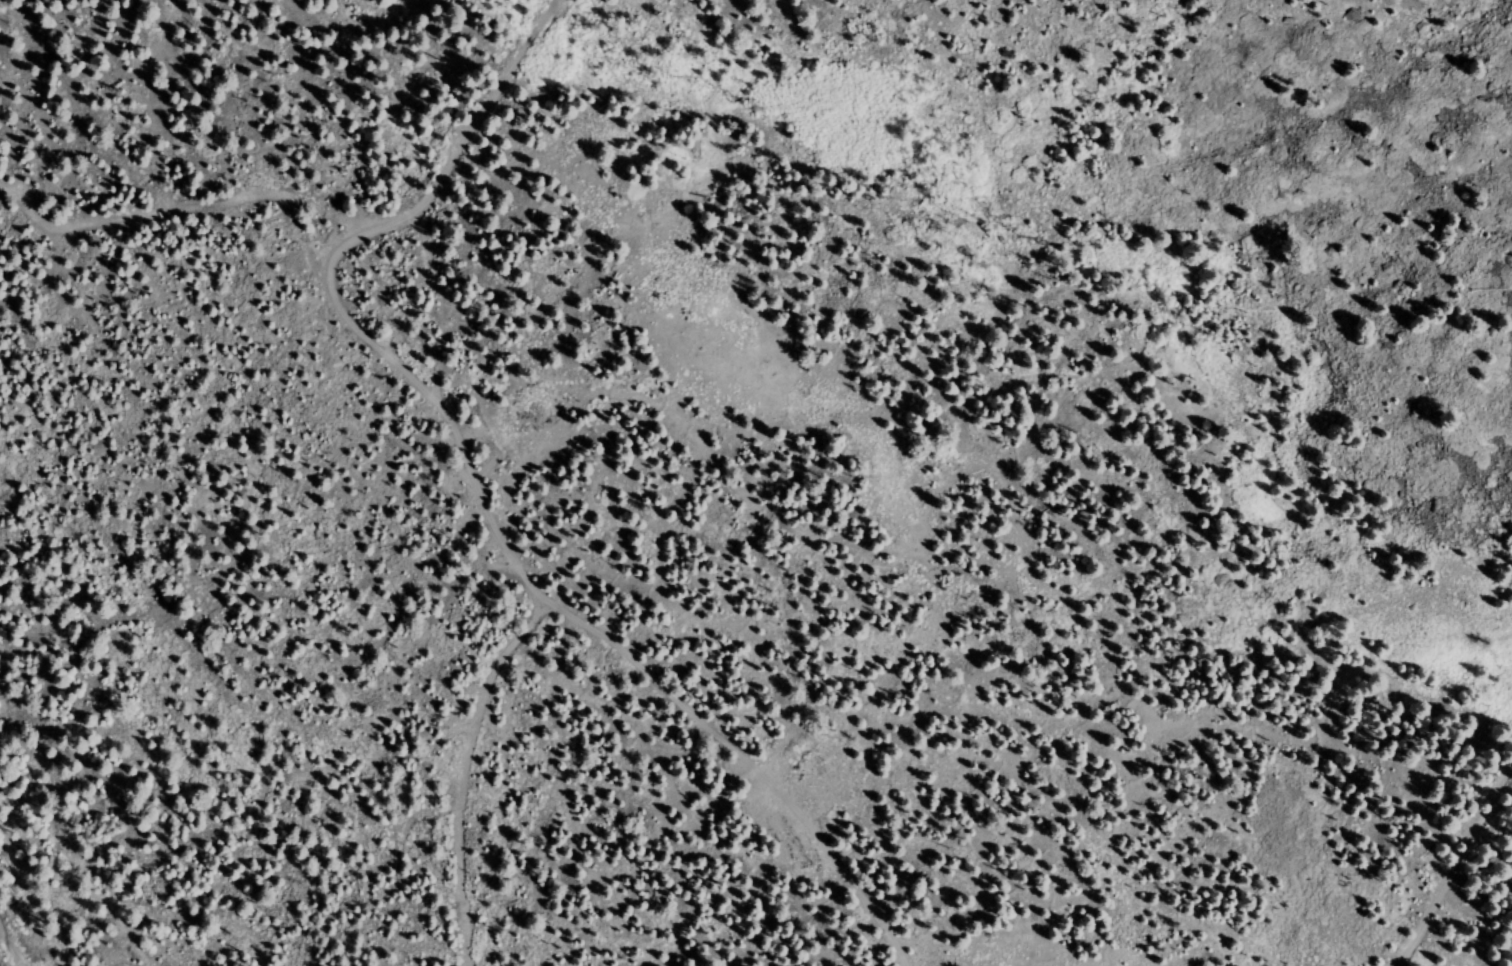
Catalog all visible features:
road: (388, 354)

